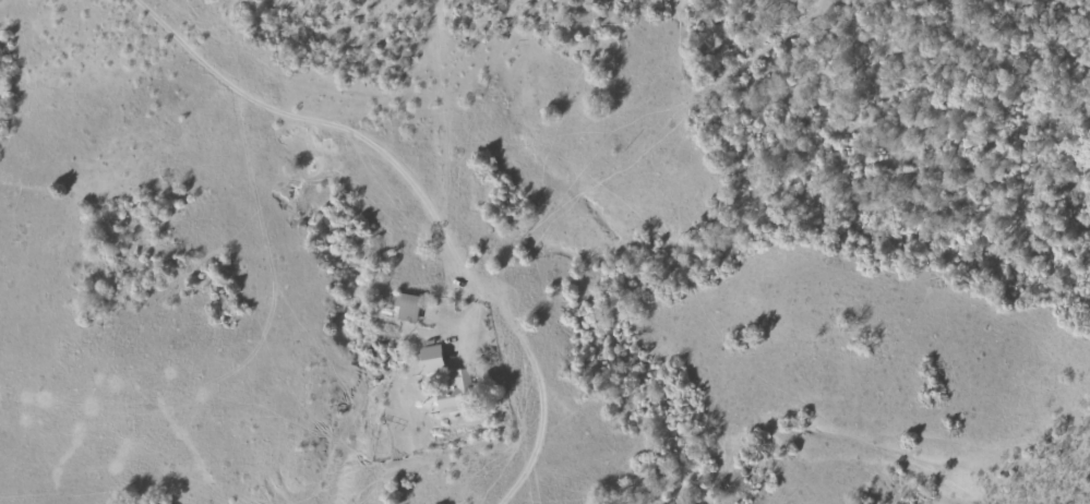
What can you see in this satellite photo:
road: (333, 125)
building: (406, 305)
building: (430, 358)
building: (453, 391)

